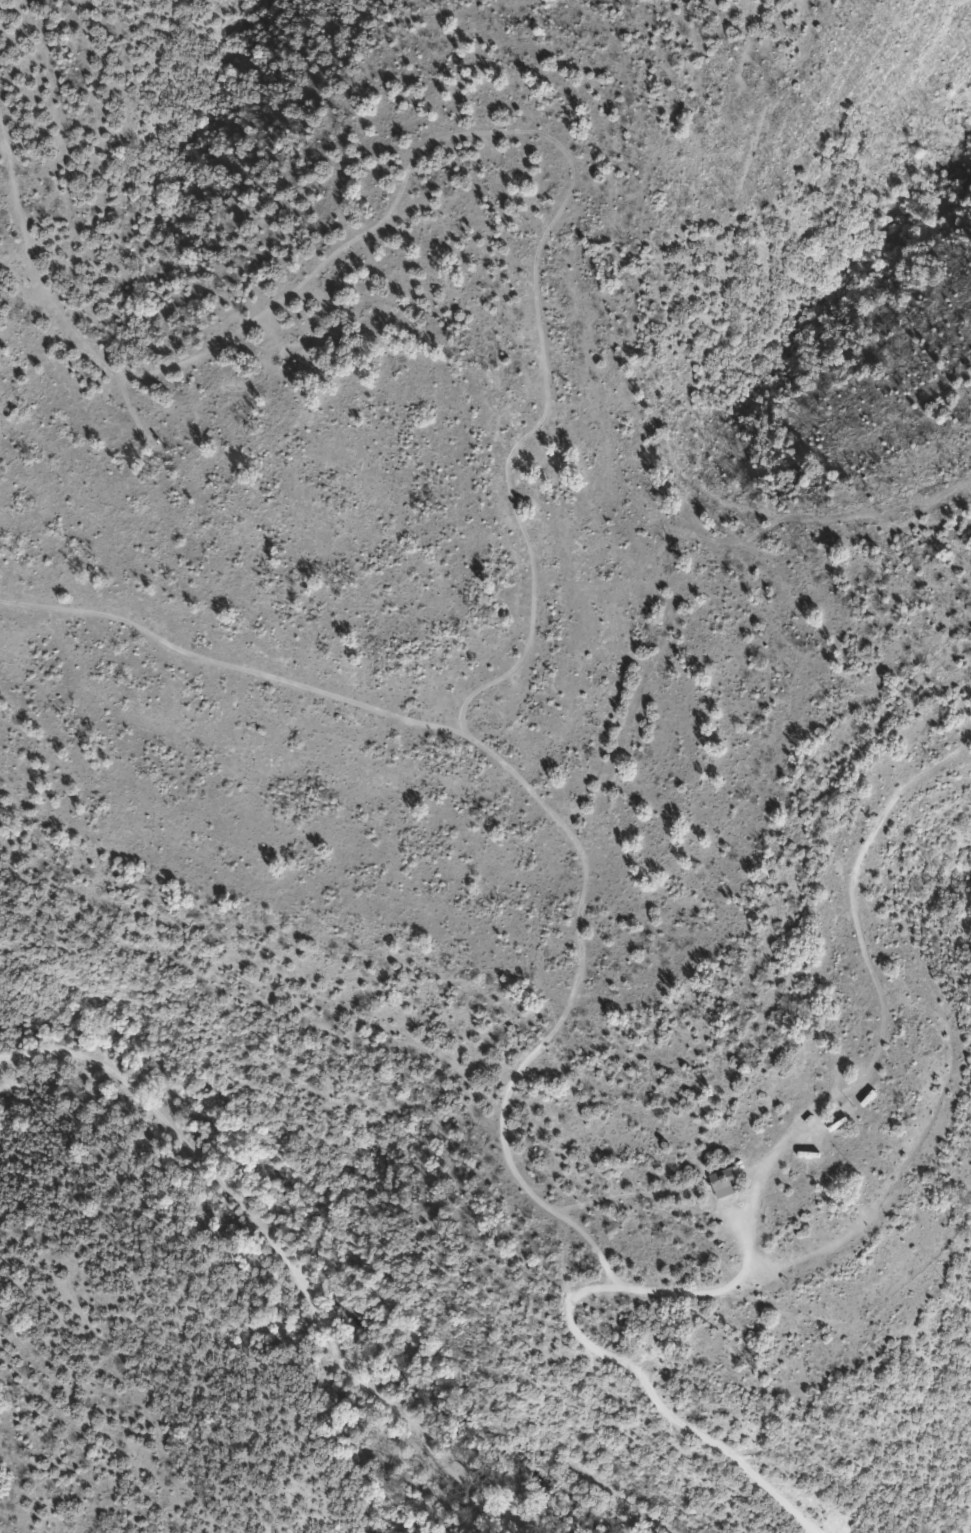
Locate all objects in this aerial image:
building: (720, 1183)
road: (591, 1343)

